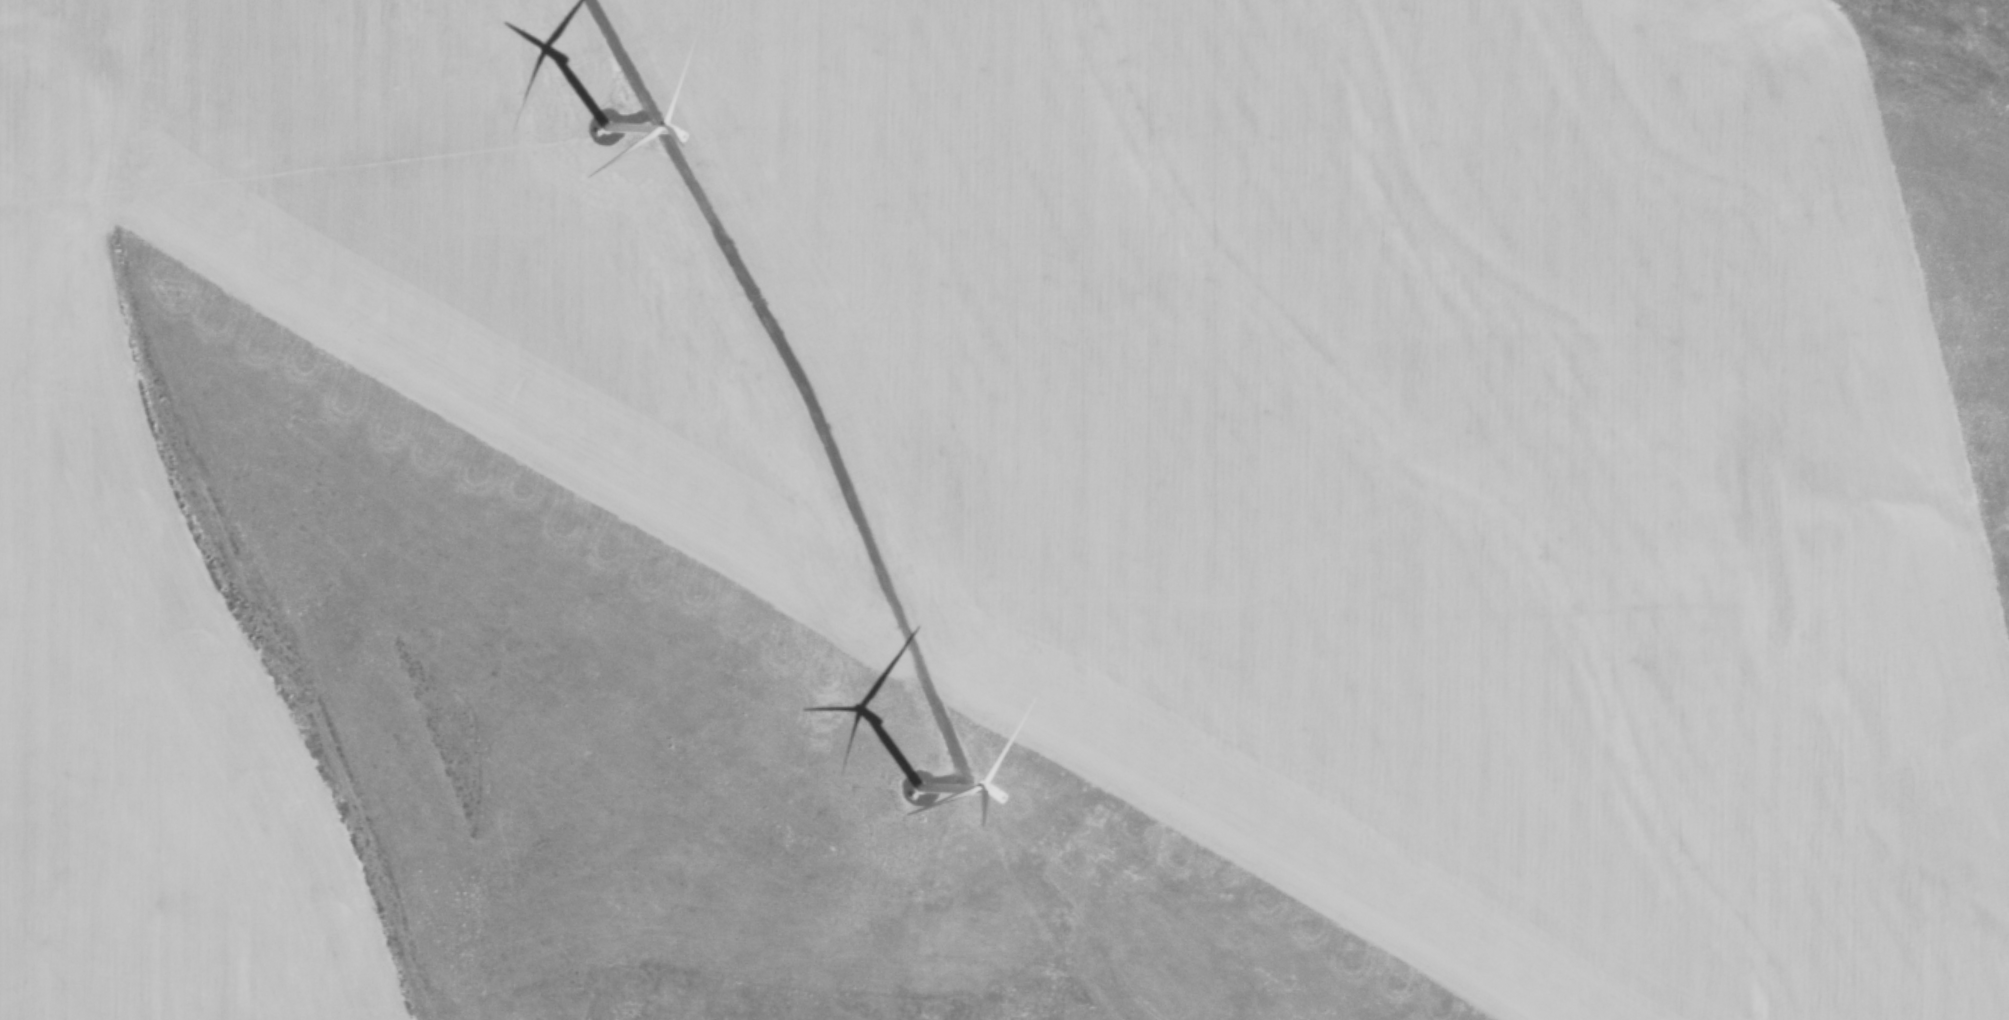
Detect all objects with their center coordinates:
wind turbine: (603, 131)
wind turbine: (922, 789)

